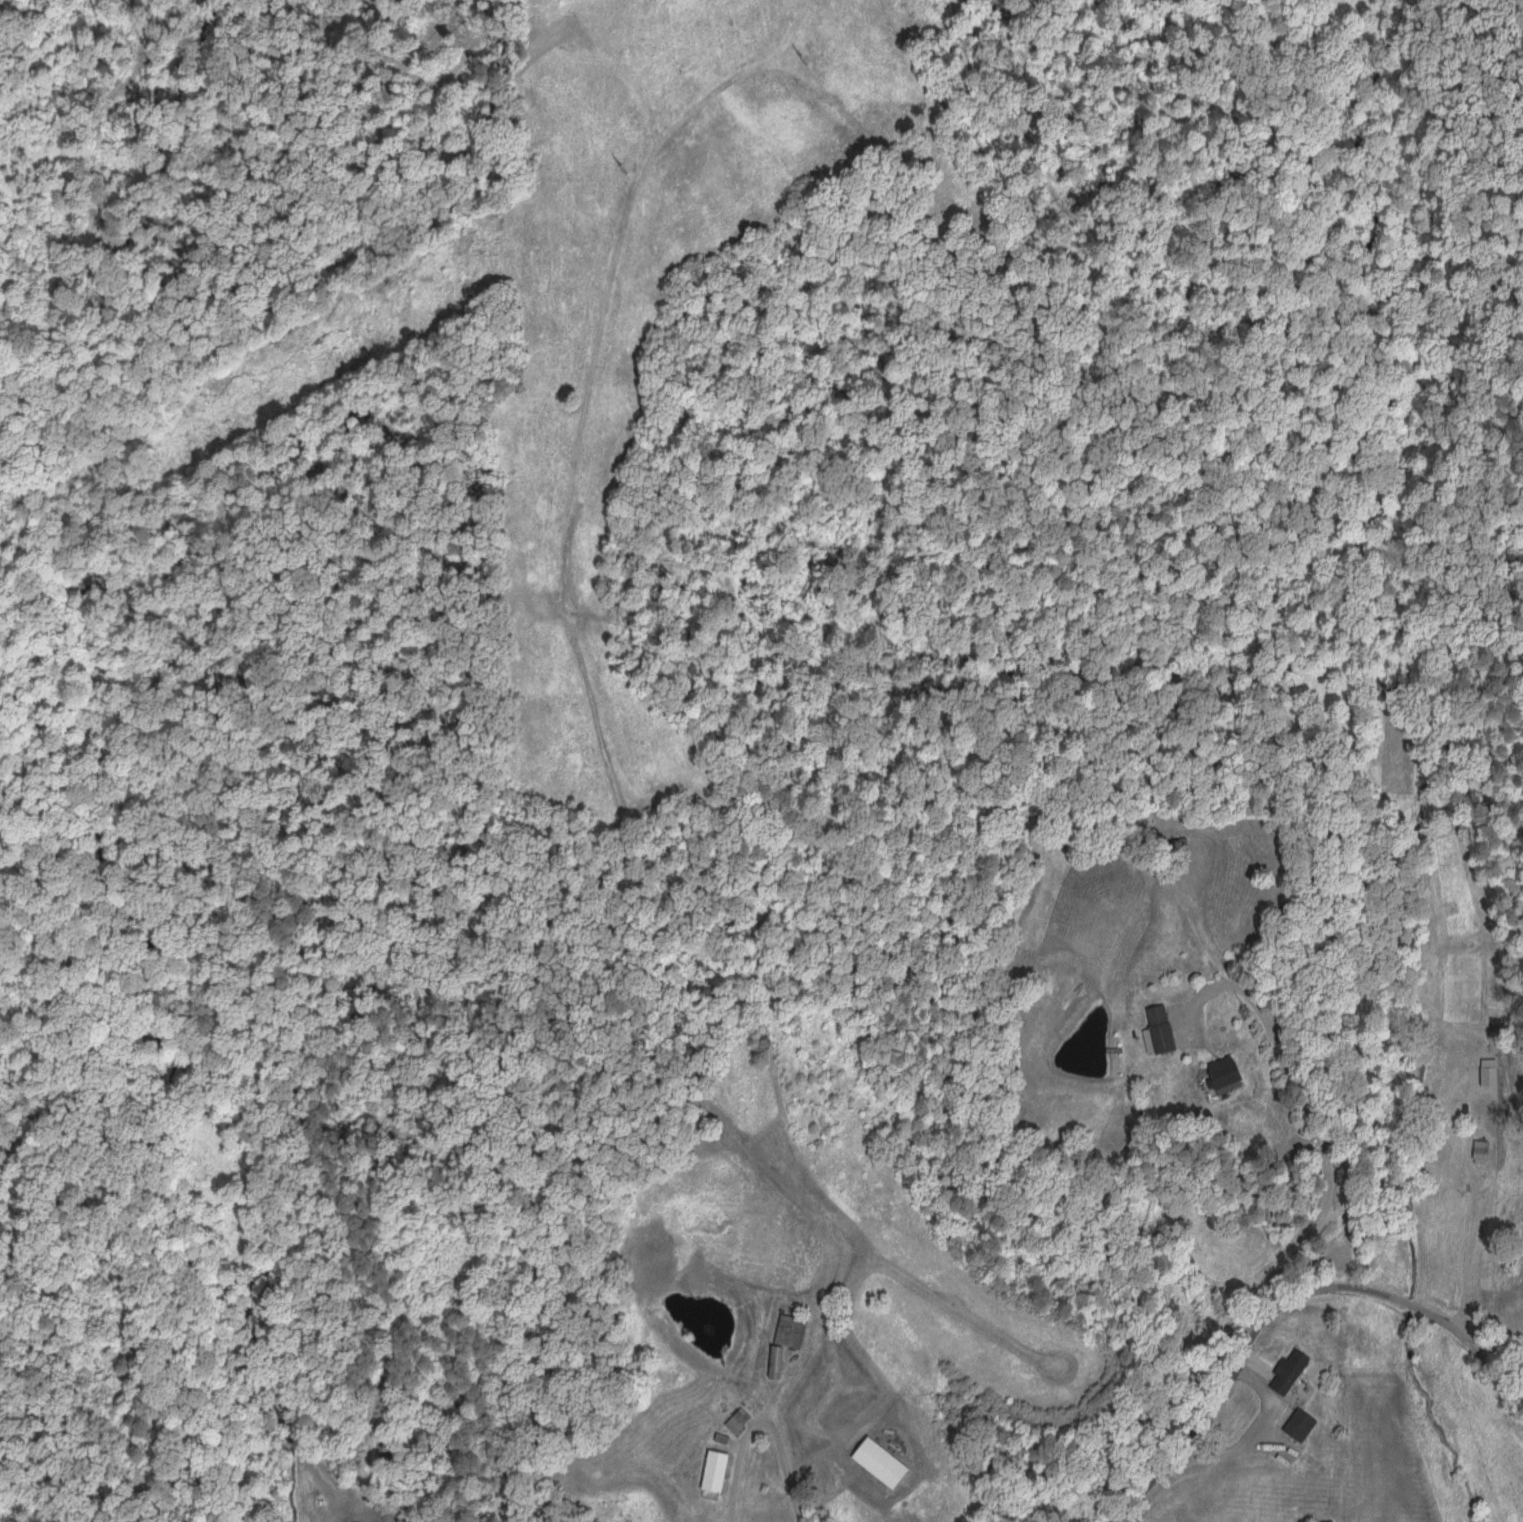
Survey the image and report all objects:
power tower: (803, 57)
building: (1160, 1029)
building: (1229, 1073)
road: (1312, 1114)
building: (1481, 1150)
road: (1469, 1222)
road: (1278, 1311)
building: (788, 1336)
building: (1291, 1369)
road: (920, 1375)
building: (738, 1420)
building: (1302, 1422)
road: (1246, 1438)
building: (717, 1470)
building: (1325, 1520)

